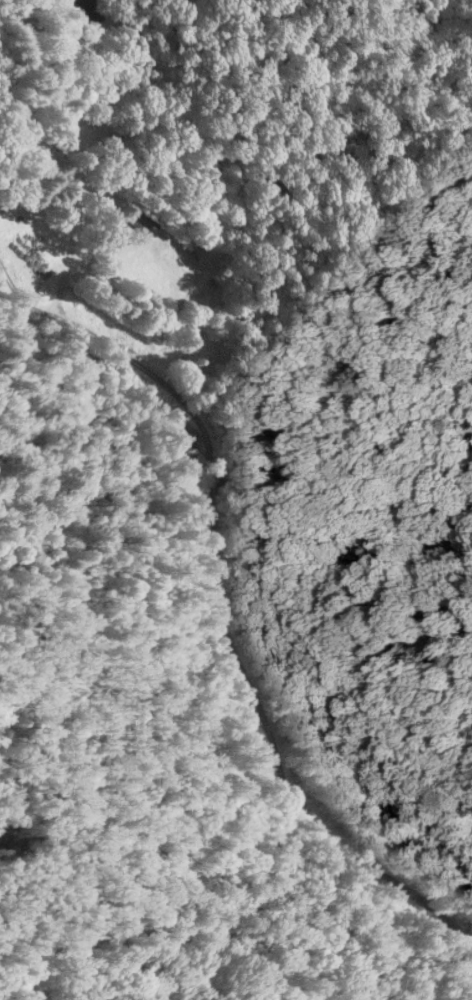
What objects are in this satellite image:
building: (137, 222)

